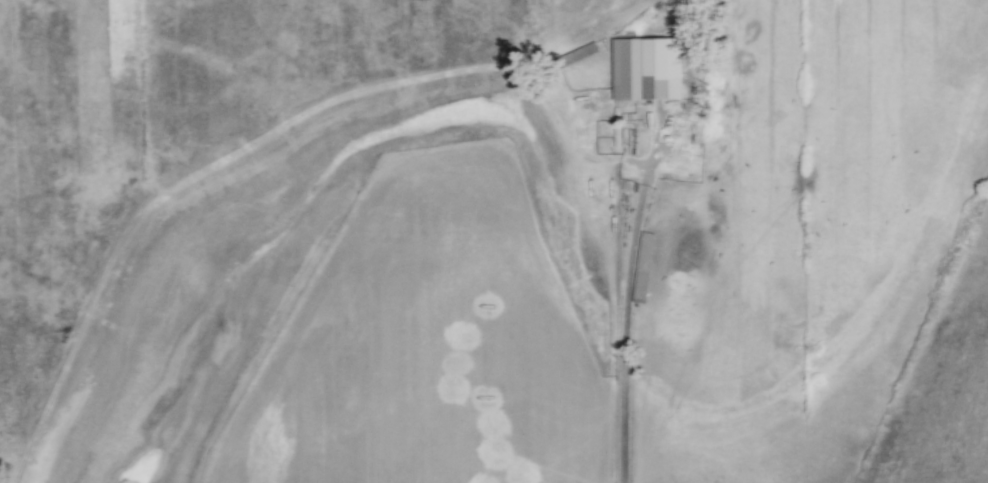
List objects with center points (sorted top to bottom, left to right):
building: (648, 70)
building: (644, 268)
road: (625, 331)

